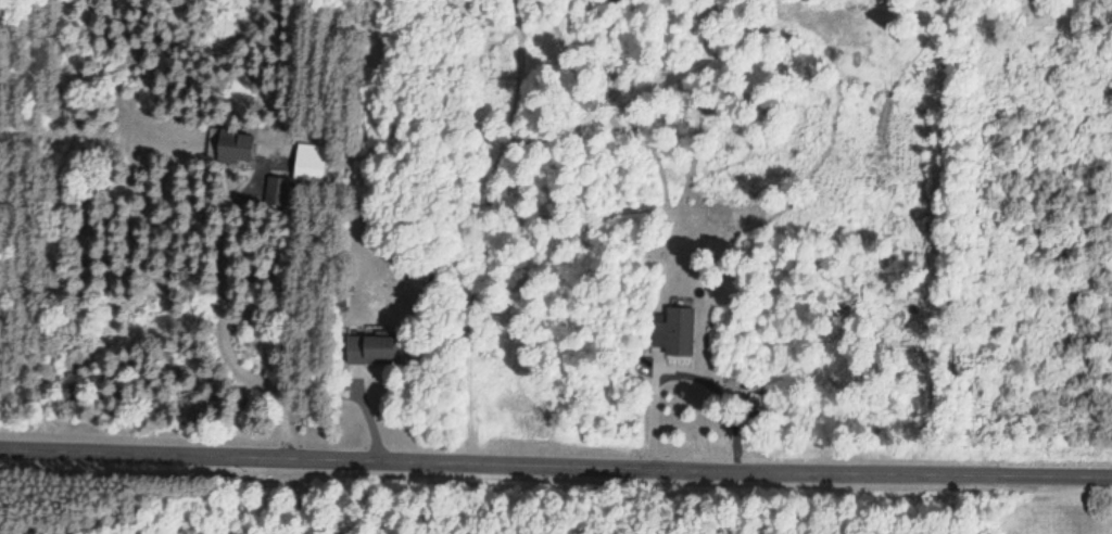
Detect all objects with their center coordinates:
building: (229, 148)
building: (277, 187)
building: (672, 331)
building: (366, 346)
road: (555, 458)

